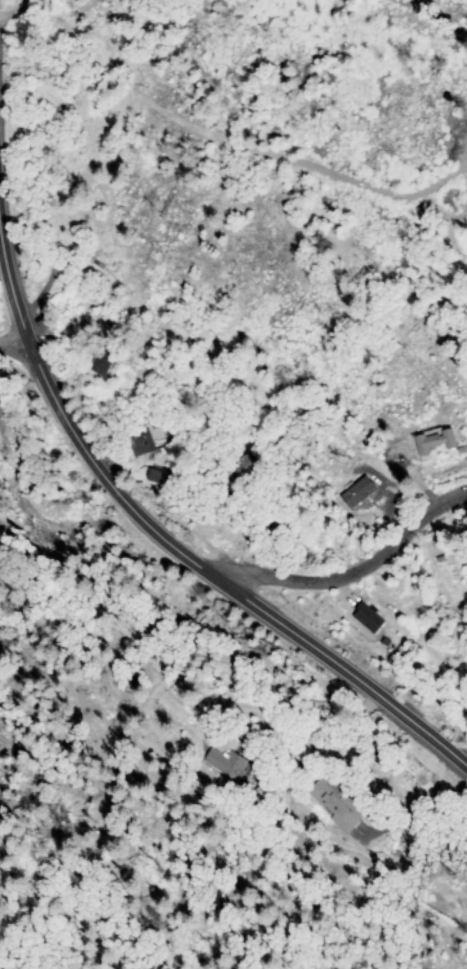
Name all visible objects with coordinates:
road: (11, 293)
road: (12, 342)
building: (104, 348)
building: (148, 434)
building: (433, 441)
building: (231, 468)
building: (153, 476)
building: (355, 492)
road: (218, 578)
road: (348, 578)
building: (368, 614)
building: (223, 763)
building: (326, 804)

